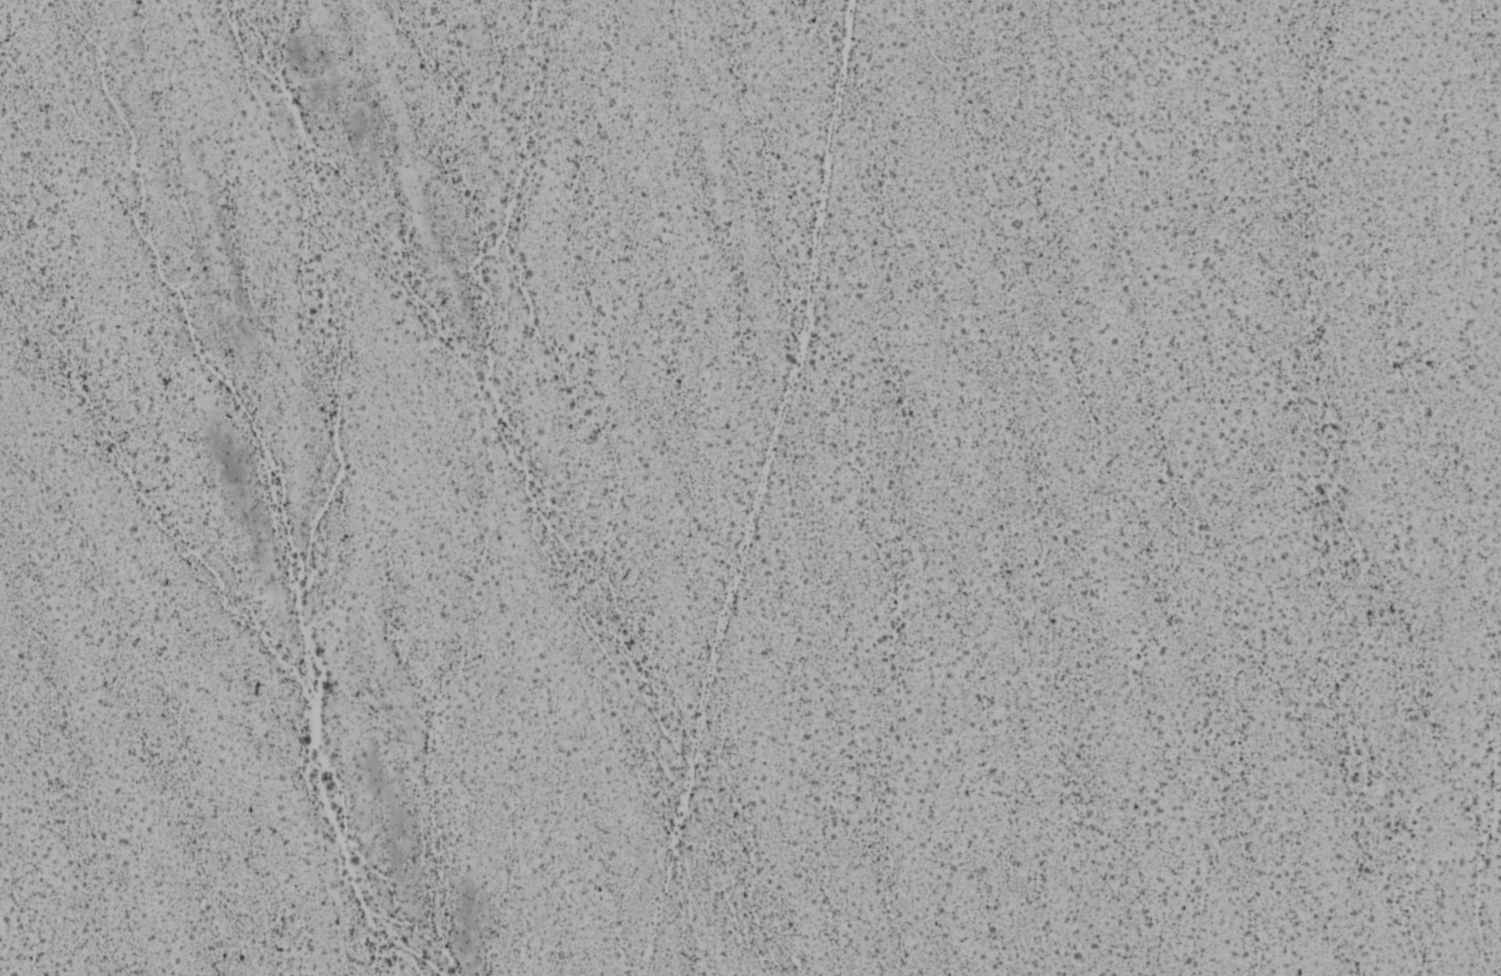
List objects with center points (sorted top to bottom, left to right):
road: (761, 491)

